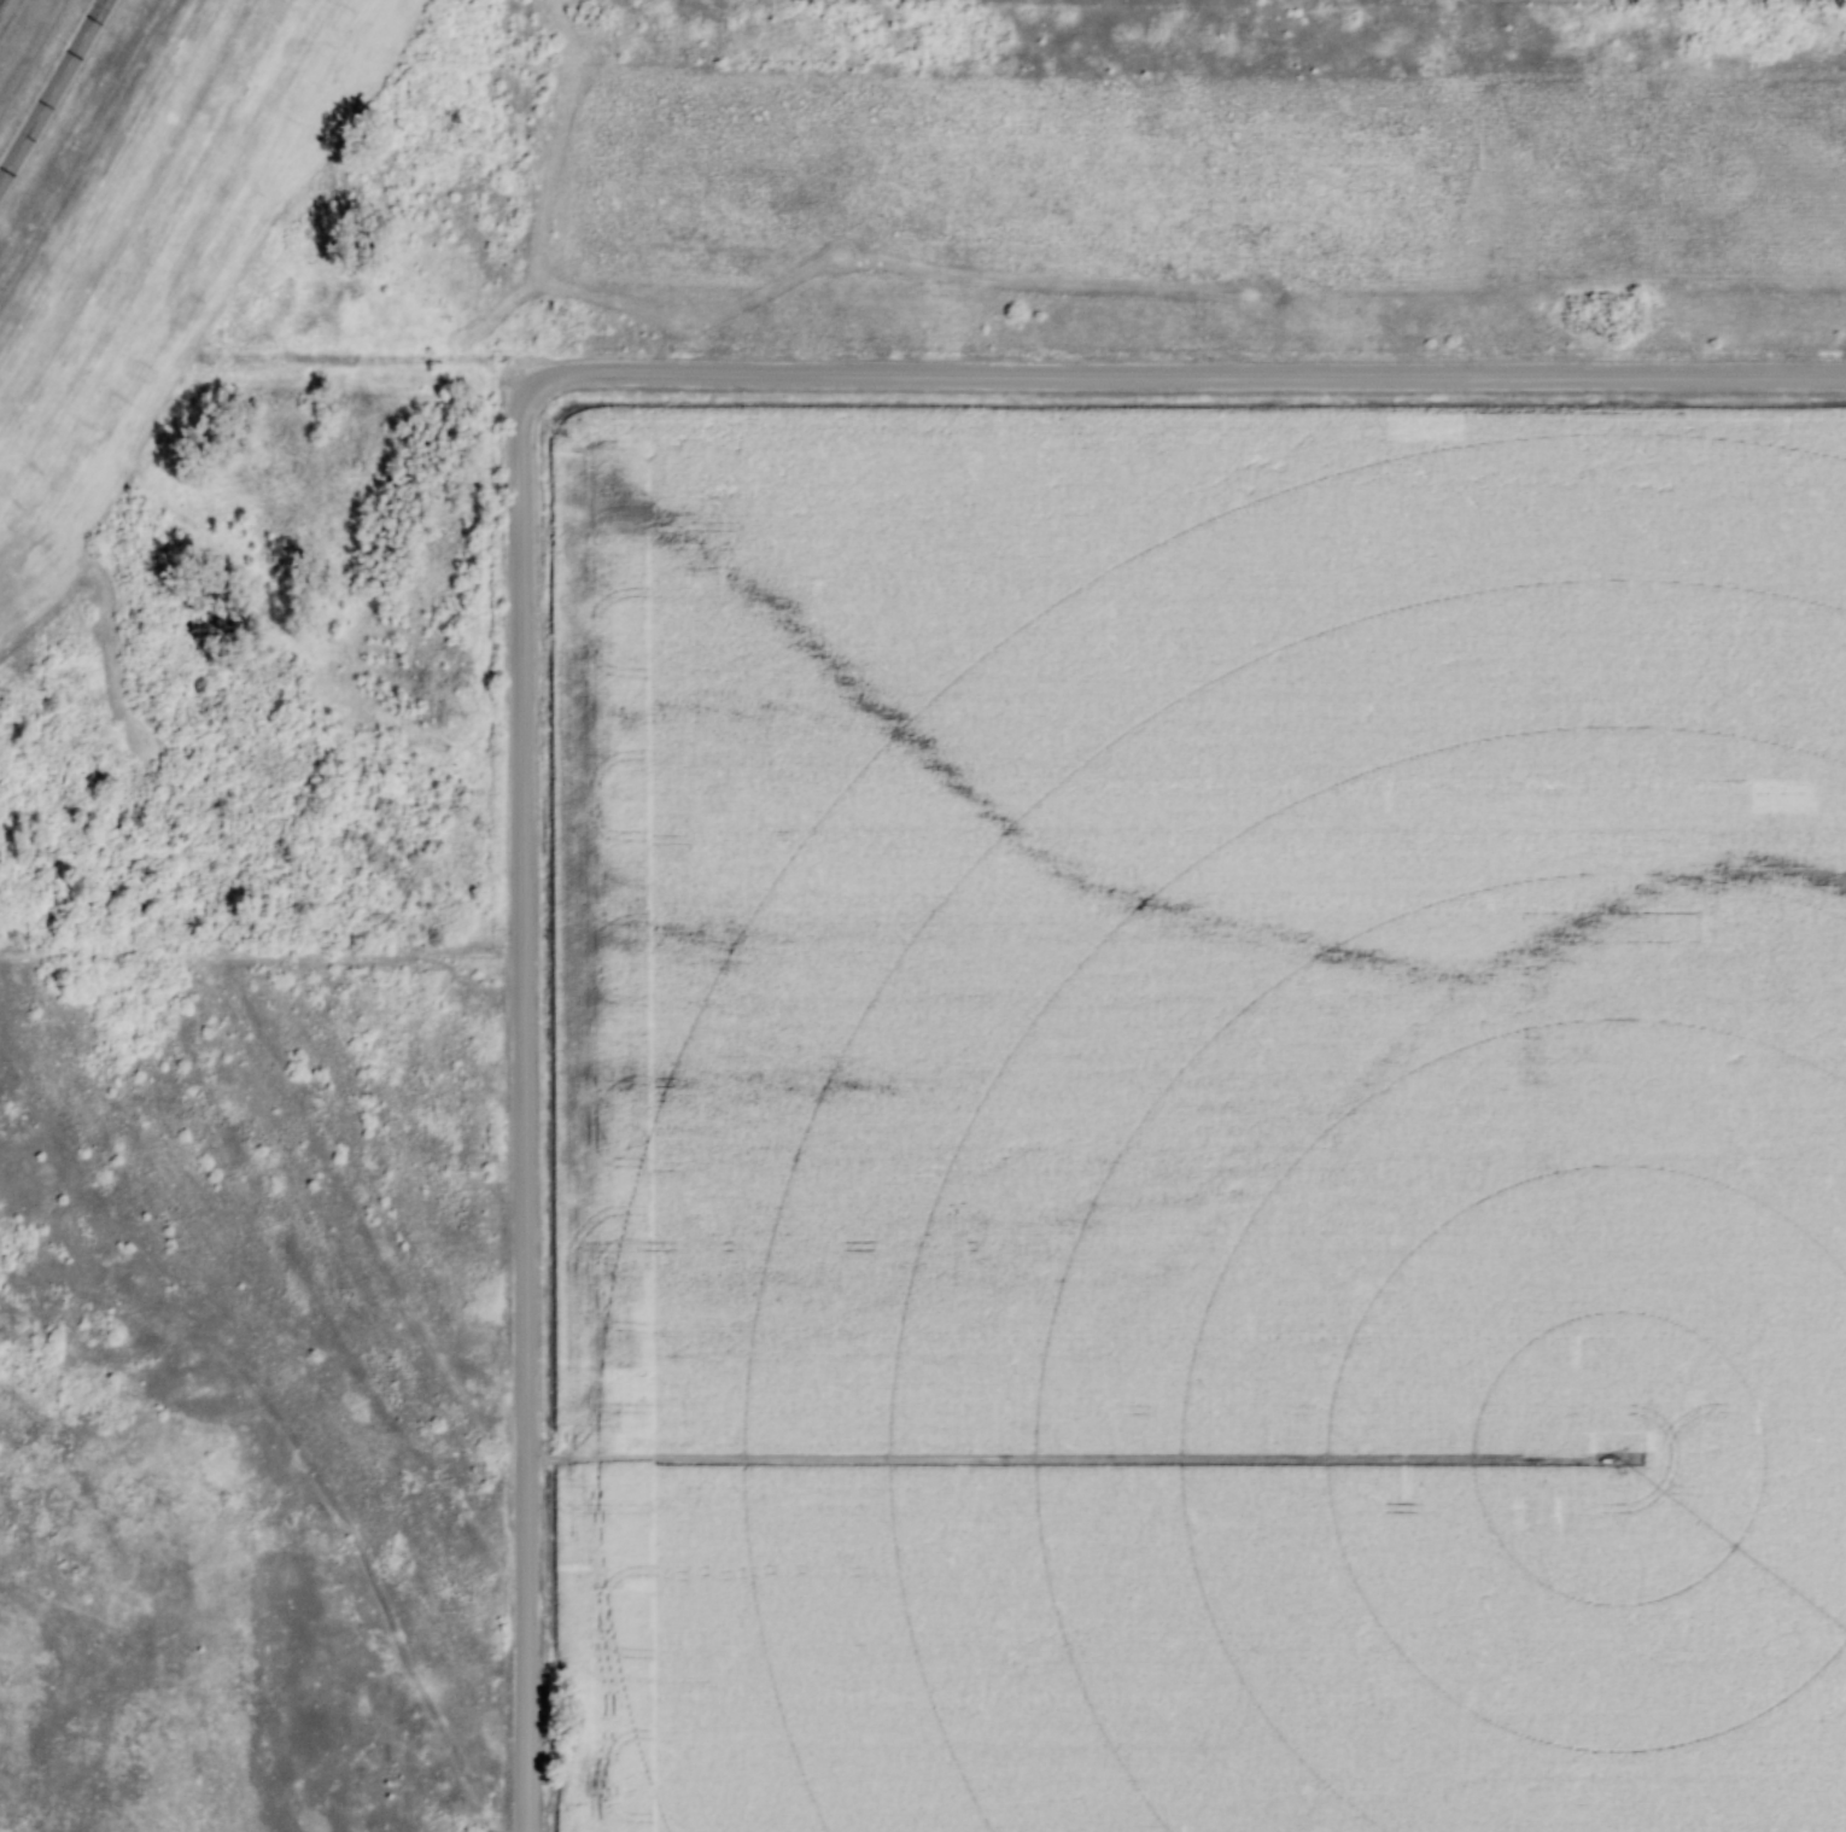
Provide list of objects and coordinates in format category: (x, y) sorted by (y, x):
road: (6, 11)
park: (35, 60)
road: (53, 91)
road: (1182, 377)
road: (520, 1104)

